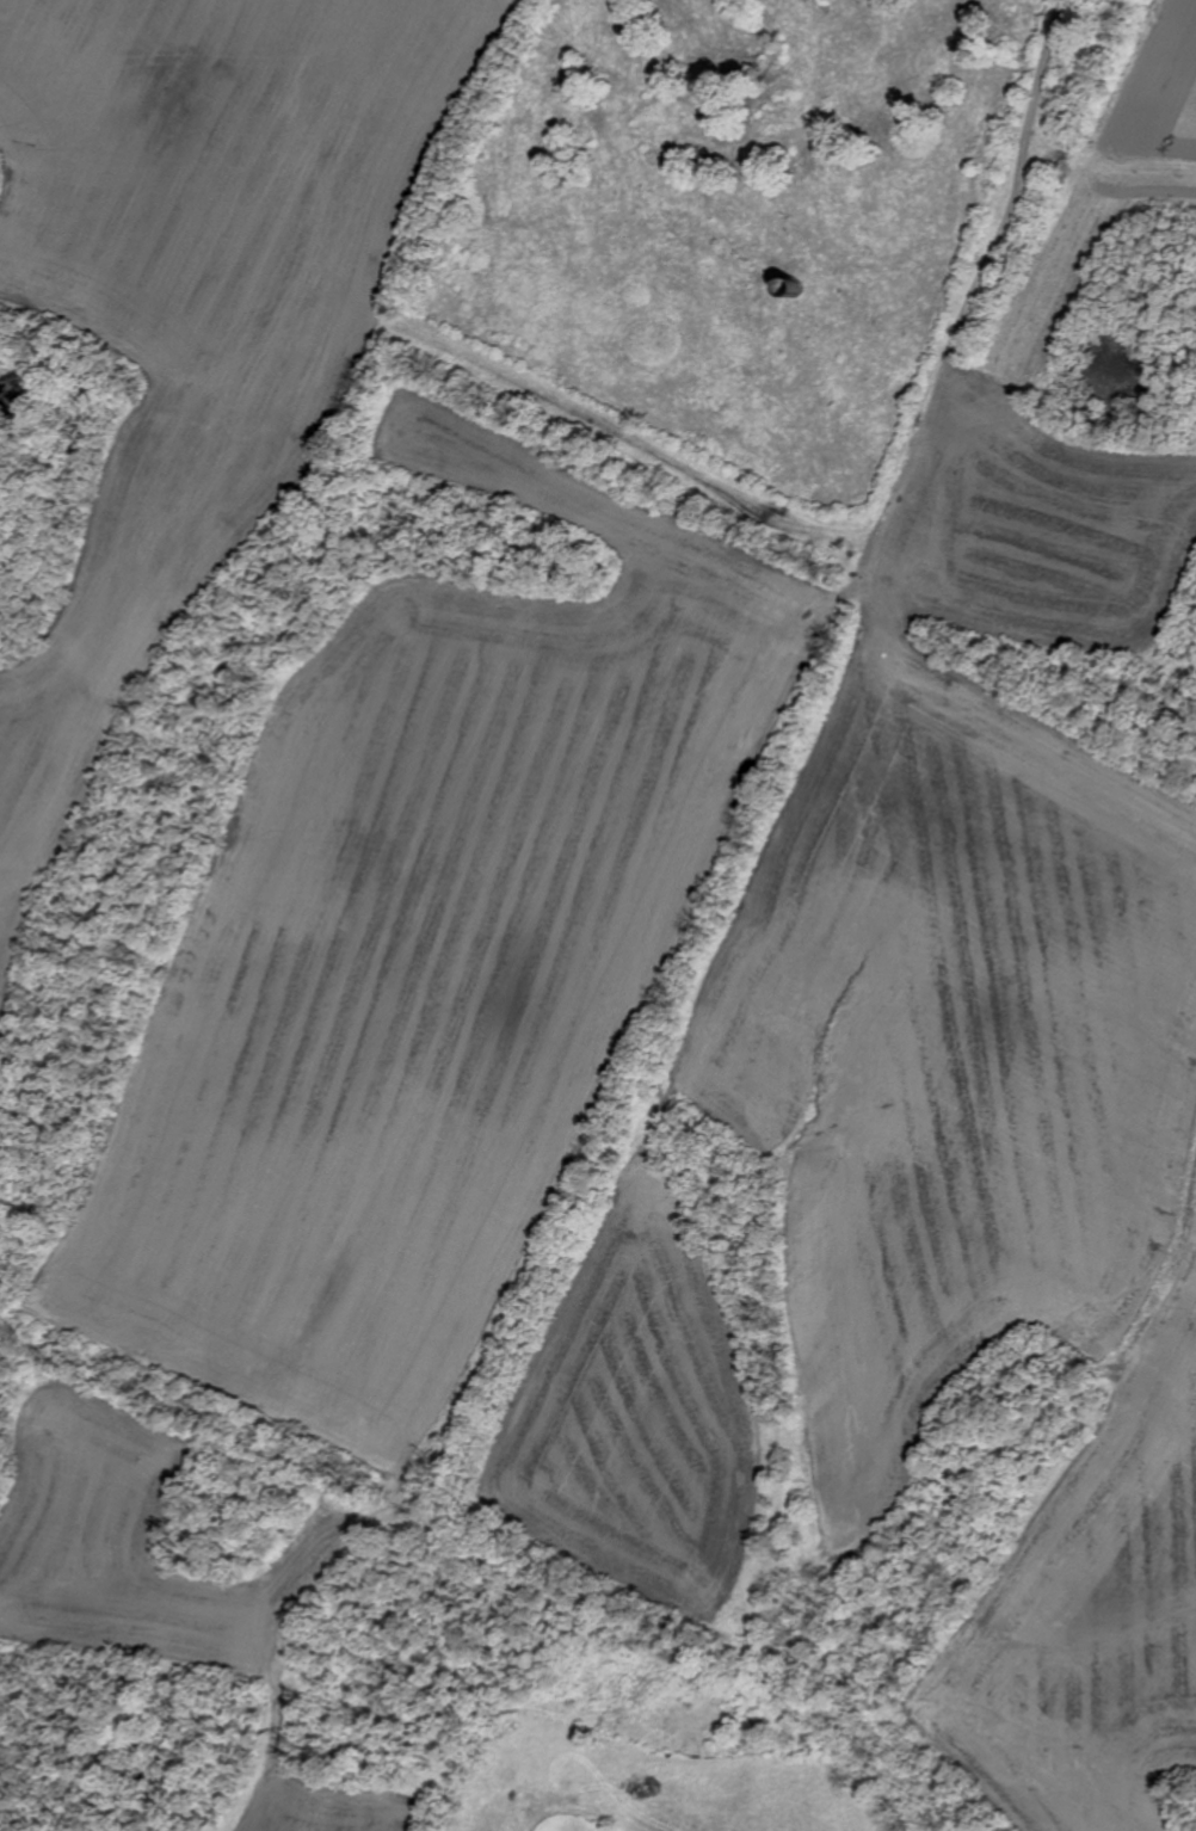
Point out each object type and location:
building: (793, 286)
silo: (793, 286)

